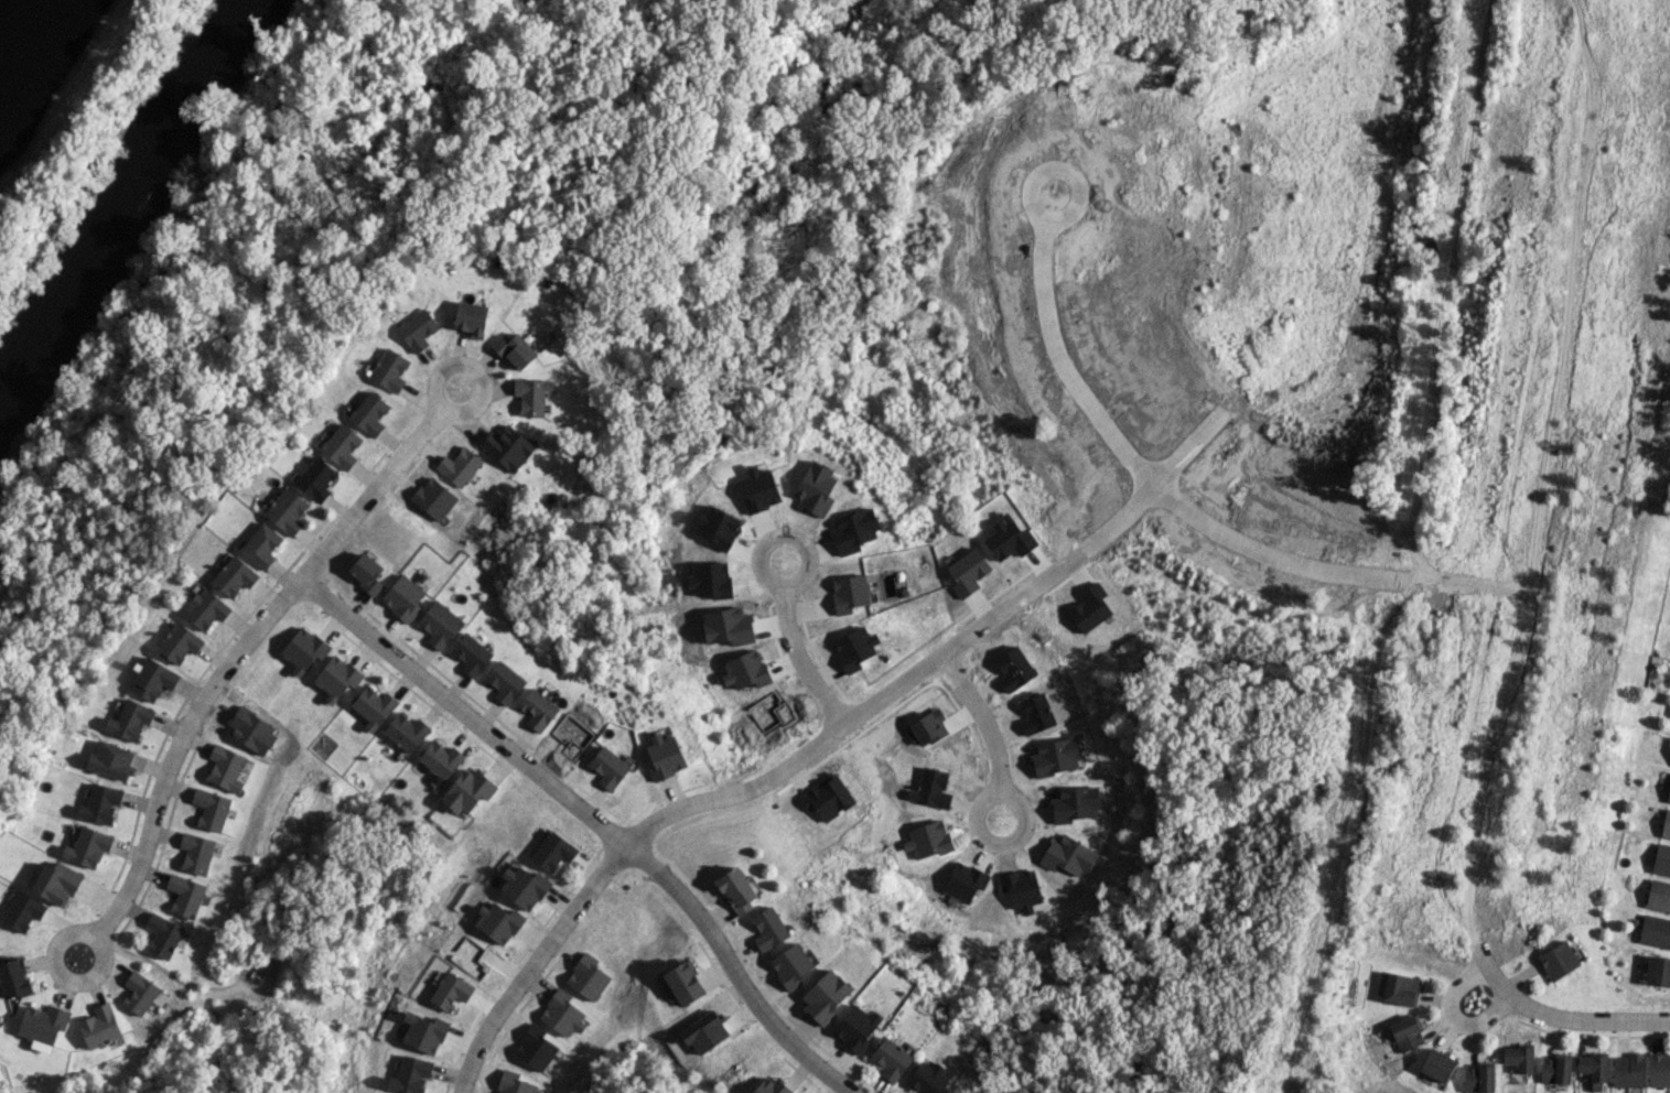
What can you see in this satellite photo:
road: (1291, 267)
road: (1576, 303)
building: (471, 317)
building: (417, 329)
building: (514, 350)
road: (1059, 354)
road: (471, 367)
building: (389, 369)
building: (531, 394)
building: (369, 413)
building: (341, 445)
building: (507, 446)
building: (459, 465)
building: (315, 478)
building: (759, 488)
building: (287, 510)
building: (260, 544)
building: (366, 572)
building: (234, 576)
building: (403, 597)
road: (1516, 597)
building: (205, 608)
building: (440, 624)
building: (179, 642)
building: (303, 649)
road: (797, 652)
building: (471, 653)
road: (237, 657)
building: (336, 678)
building: (152, 679)
building: (504, 682)
building: (373, 706)
building: (538, 708)
building: (130, 719)
building: (406, 731)
road: (990, 736)
building: (665, 756)
building: (440, 758)
building: (110, 759)
building: (225, 767)
building: (608, 767)
road: (779, 777)
building: (467, 790)
building: (1668, 794)
building: (827, 797)
building: (99, 803)
building: (209, 809)
road: (592, 820)
building: (1666, 824)
building: (86, 846)
building: (553, 851)
building: (195, 853)
building: (1661, 858)
building: (56, 883)
building: (524, 885)
building: (736, 889)
building: (184, 895)
building: (1658, 895)
building: (22, 911)
building: (499, 922)
building: (767, 928)
building: (1655, 930)
building: (162, 934)
building: (1558, 960)
building: (790, 965)
building: (1657, 970)
building: (588, 976)
building: (13, 977)
road: (64, 978)
building: (685, 982)
building: (1400, 988)
building: (451, 991)
building: (139, 993)
building: (825, 995)
road: (1448, 1002)
building: (561, 1014)
road: (1588, 1019)
building: (43, 1022)
building: (99, 1026)
building: (855, 1027)
building: (424, 1031)
building: (1405, 1032)
building: (537, 1050)
building: (1518, 1057)
building: (891, 1059)
building: (1436, 1064)
building: (1554, 1069)
building: (1593, 1069)
building: (1659, 1069)
building: (1627, 1070)
building: (410, 1074)
building: (927, 1078)
building: (1477, 1078)
building: (514, 1083)
building: (772, 1086)
building: (956, 1090)

